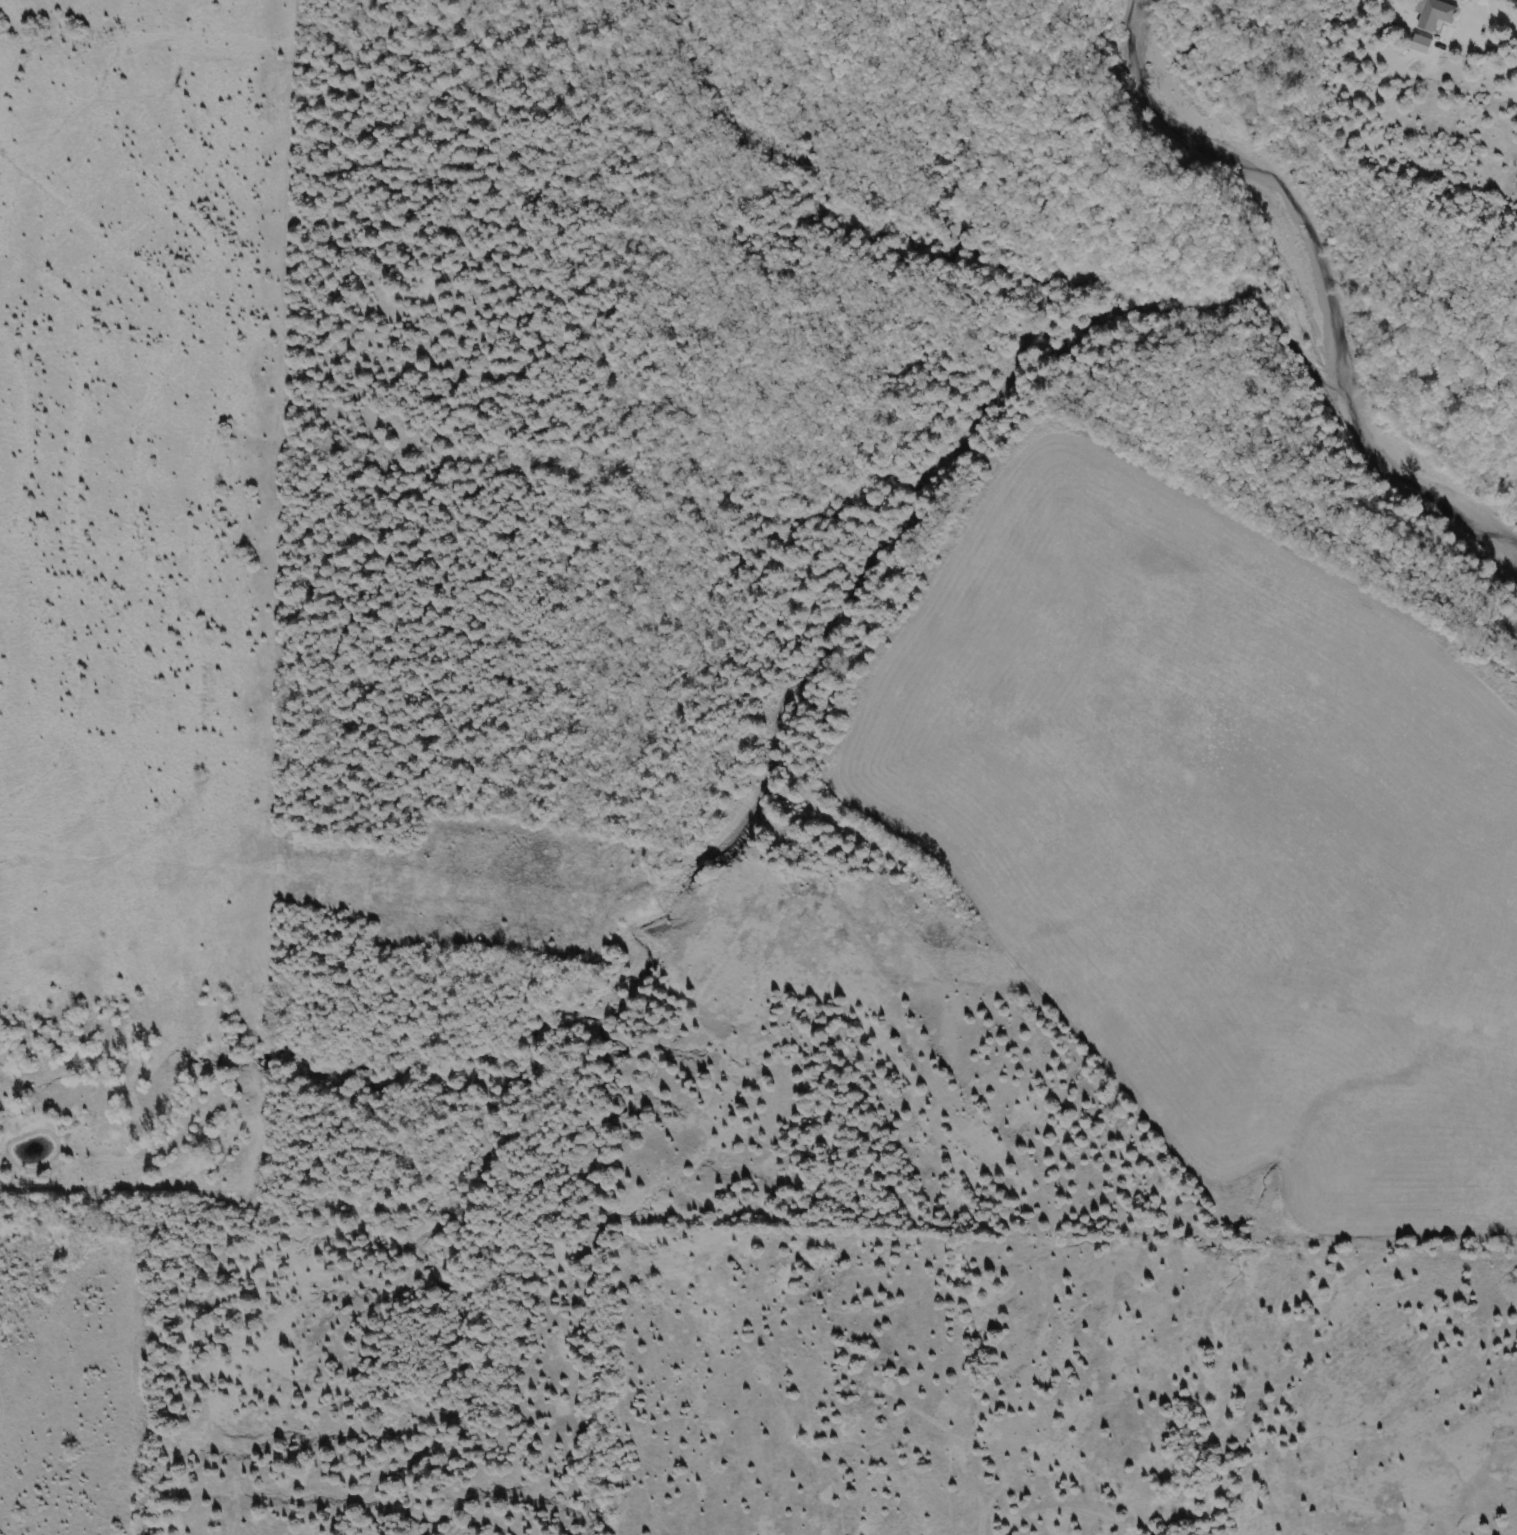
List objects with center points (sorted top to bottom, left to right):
building: (1439, 14)
building: (1425, 42)

